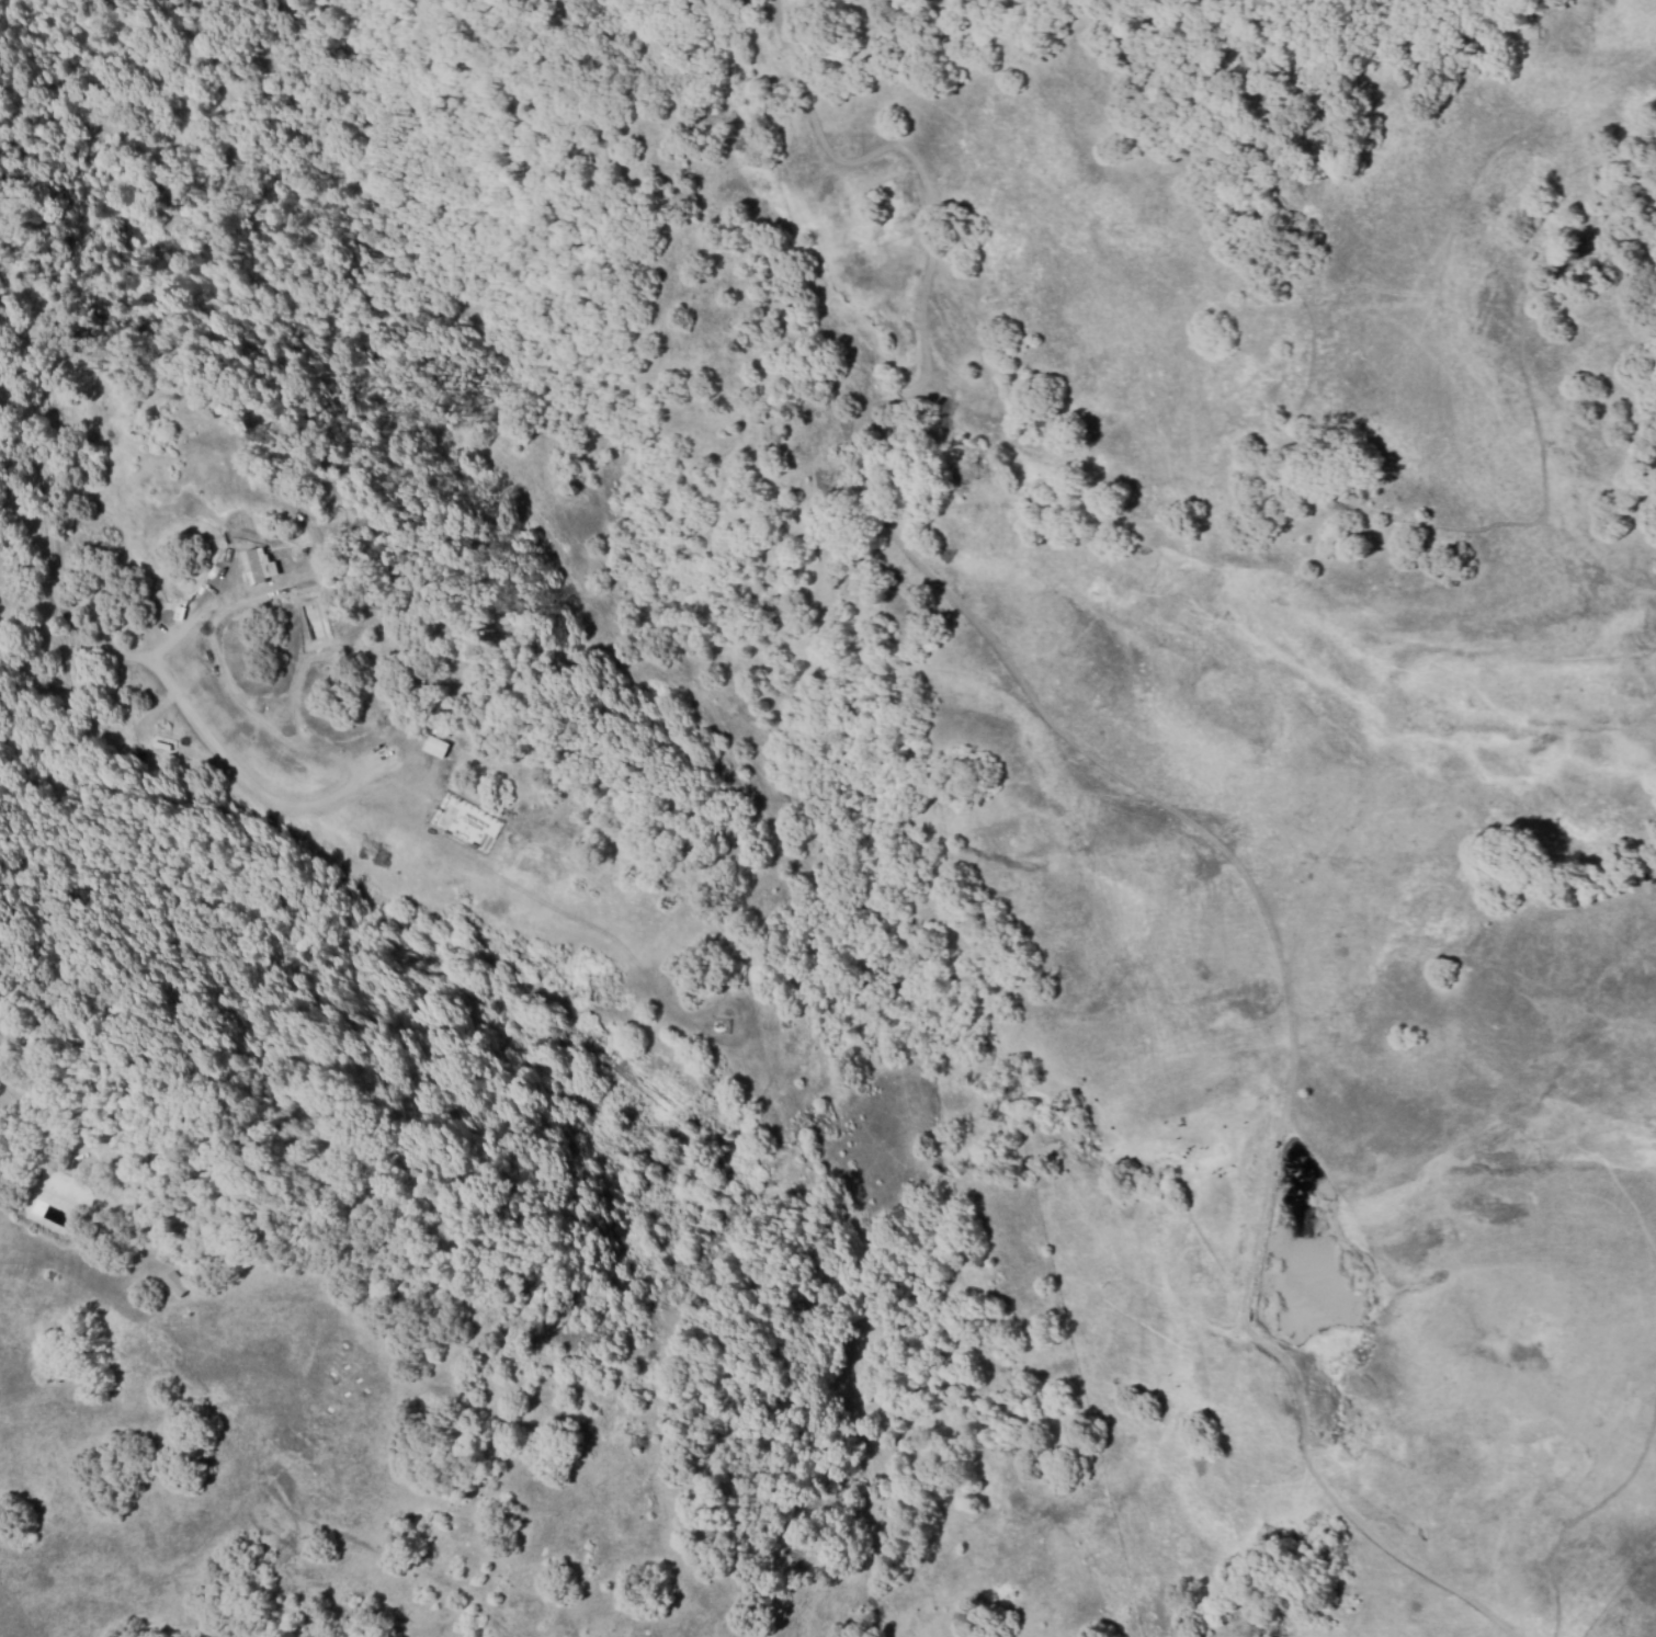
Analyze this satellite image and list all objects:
road: (236, 548)
road: (56, 601)
building: (175, 1283)

